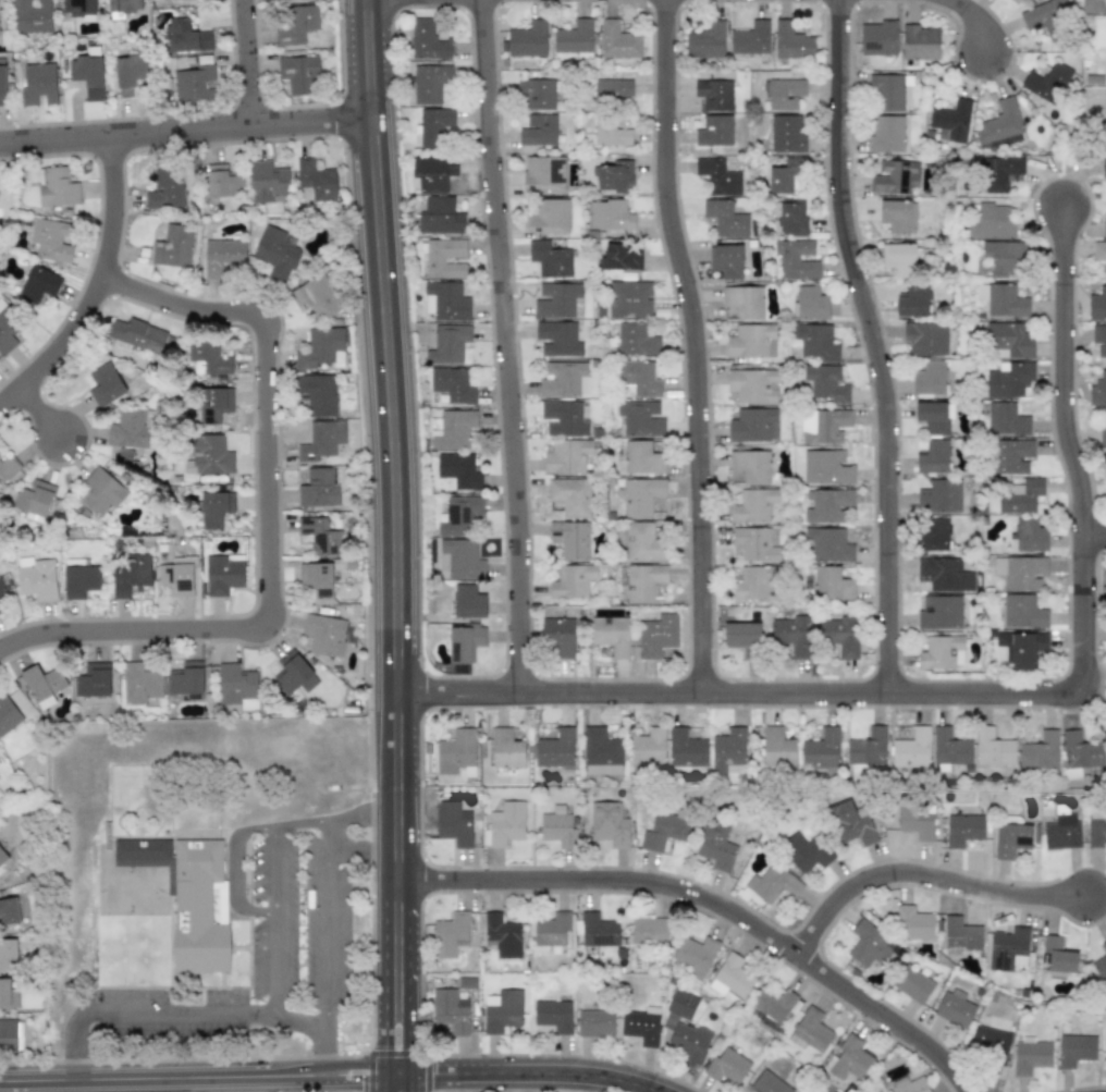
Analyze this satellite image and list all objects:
building: (1015, 1)
building: (78, 7)
building: (122, 7)
building: (1046, 15)
building: (32, 16)
road: (983, 20)
building: (296, 25)
building: (185, 36)
building: (574, 37)
building: (750, 38)
building: (878, 38)
building: (527, 39)
building: (427, 40)
building: (617, 41)
building: (705, 41)
building: (791, 41)
building: (919, 42)
road: (247, 63)
building: (130, 73)
building: (298, 74)
building: (87, 75)
building: (1047, 82)
building: (38, 83)
building: (429, 83)
building: (195, 84)
building: (3, 87)
building: (613, 88)
building: (888, 91)
building: (785, 93)
building: (537, 94)
building: (714, 94)
building: (951, 120)
building: (1000, 125)
building: (433, 126)
building: (539, 131)
building: (714, 131)
building: (611, 132)
road: (185, 133)
building: (786, 133)
building: (887, 133)
building: (1103, 168)
building: (432, 172)
building: (544, 172)
building: (1001, 173)
building: (785, 175)
building: (613, 176)
building: (717, 176)
building: (895, 176)
building: (316, 180)
building: (223, 182)
building: (267, 182)
building: (58, 187)
building: (165, 188)
building: (610, 214)
building: (439, 216)
building: (897, 216)
building: (549, 217)
building: (792, 217)
building: (725, 218)
building: (992, 221)
building: (1104, 226)
building: (51, 240)
building: (172, 250)
building: (275, 254)
building: (1099, 254)
building: (224, 255)
building: (1005, 256)
building: (617, 257)
building: (445, 258)
building: (899, 258)
building: (550, 259)
building: (795, 259)
building: (726, 260)
building: (37, 285)
road: (94, 287)
building: (316, 296)
building: (629, 299)
building: (1001, 299)
building: (446, 300)
building: (557, 300)
building: (744, 300)
building: (912, 300)
building: (811, 303)
building: (1097, 304)
building: (7, 330)
building: (137, 334)
building: (925, 338)
building: (557, 339)
building: (1009, 339)
building: (636, 340)
building: (1099, 340)
building: (751, 341)
building: (447, 343)
building: (816, 343)
road: (505, 346)
road: (703, 346)
road: (874, 346)
building: (322, 348)
building: (208, 358)
road: (1064, 370)
building: (640, 378)
building: (929, 378)
building: (564, 379)
building: (1009, 379)
building: (824, 383)
building: (106, 384)
building: (453, 384)
building: (752, 385)
building: (1098, 390)
building: (318, 394)
building: (214, 403)
road: (40, 413)
building: (934, 417)
building: (565, 418)
building: (640, 418)
building: (1007, 419)
building: (753, 425)
building: (824, 425)
building: (131, 429)
building: (454, 429)
building: (1103, 435)
road: (391, 440)
building: (209, 455)
building: (932, 455)
building: (1012, 455)
building: (567, 456)
building: (642, 457)
building: (749, 465)
building: (8, 467)
building: (826, 467)
building: (457, 471)
building: (320, 488)
building: (101, 492)
building: (570, 495)
building: (640, 495)
building: (939, 496)
building: (1020, 496)
building: (34, 500)
building: (753, 505)
building: (827, 505)
building: (213, 508)
building: (459, 515)
road: (266, 520)
building: (933, 533)
road: (1095, 533)
building: (1030, 535)
building: (320, 536)
building: (642, 541)
building: (754, 544)
building: (827, 544)
building: (460, 559)
building: (1020, 572)
building: (223, 574)
building: (944, 574)
building: (131, 575)
building: (177, 577)
building: (38, 579)
building: (81, 580)
building: (317, 580)
building: (572, 580)
building: (642, 581)
building: (752, 582)
building: (831, 584)
building: (2, 588)
building: (468, 601)
building: (939, 612)
building: (1022, 612)
building: (324, 634)
building: (612, 635)
building: (656, 635)
building: (840, 635)
building: (558, 636)
building: (791, 636)
building: (742, 638)
building: (464, 642)
building: (1020, 648)
building: (942, 652)
building: (294, 674)
building: (186, 678)
building: (94, 680)
building: (140, 683)
building: (44, 685)
building: (235, 685)
road: (819, 695)
building: (8, 715)
building: (777, 747)
building: (867, 747)
building: (950, 747)
building: (993, 747)
building: (506, 749)
building: (555, 749)
building: (821, 749)
building: (912, 749)
building: (1080, 750)
building: (648, 751)
building: (728, 751)
building: (1040, 751)
building: (457, 752)
building: (601, 752)
building: (686, 752)
building: (915, 821)
building: (453, 822)
road: (321, 823)
building: (609, 823)
building: (504, 824)
building: (850, 824)
building: (558, 827)
building: (665, 829)
building: (963, 829)
building: (1096, 830)
building: (1061, 832)
building: (1010, 839)
building: (716, 846)
road: (360, 848)
building: (143, 852)
building: (807, 852)
building: (2, 857)
road: (239, 869)
road: (932, 881)
building: (773, 884)
road: (714, 901)
building: (198, 907)
building: (9, 911)
road: (259, 911)
road: (280, 922)
building: (913, 923)
building: (552, 929)
building: (598, 930)
building: (648, 930)
building: (451, 934)
building: (961, 934)
building: (502, 935)
building: (869, 944)
building: (1104, 945)
building: (1008, 948)
road: (323, 949)
building: (8, 953)
building: (693, 955)
building: (1058, 956)
building: (1101, 968)
building: (730, 977)
road: (384, 983)
building: (912, 984)
road: (408, 985)
building: (4, 992)
building: (773, 1003)
building: (954, 1008)
building: (451, 1010)
building: (503, 1011)
building: (553, 1015)
road: (171, 1016)
building: (594, 1022)
building: (641, 1026)
building: (685, 1029)
building: (810, 1030)
building: (11, 1033)
building: (990, 1041)
building: (1105, 1041)
building: (1076, 1050)
building: (1030, 1055)
building: (848, 1059)
road: (355, 1065)
building: (726, 1066)
road: (523, 1072)
road: (162, 1077)
road: (356, 1081)
building: (769, 1083)
building: (910, 1084)

